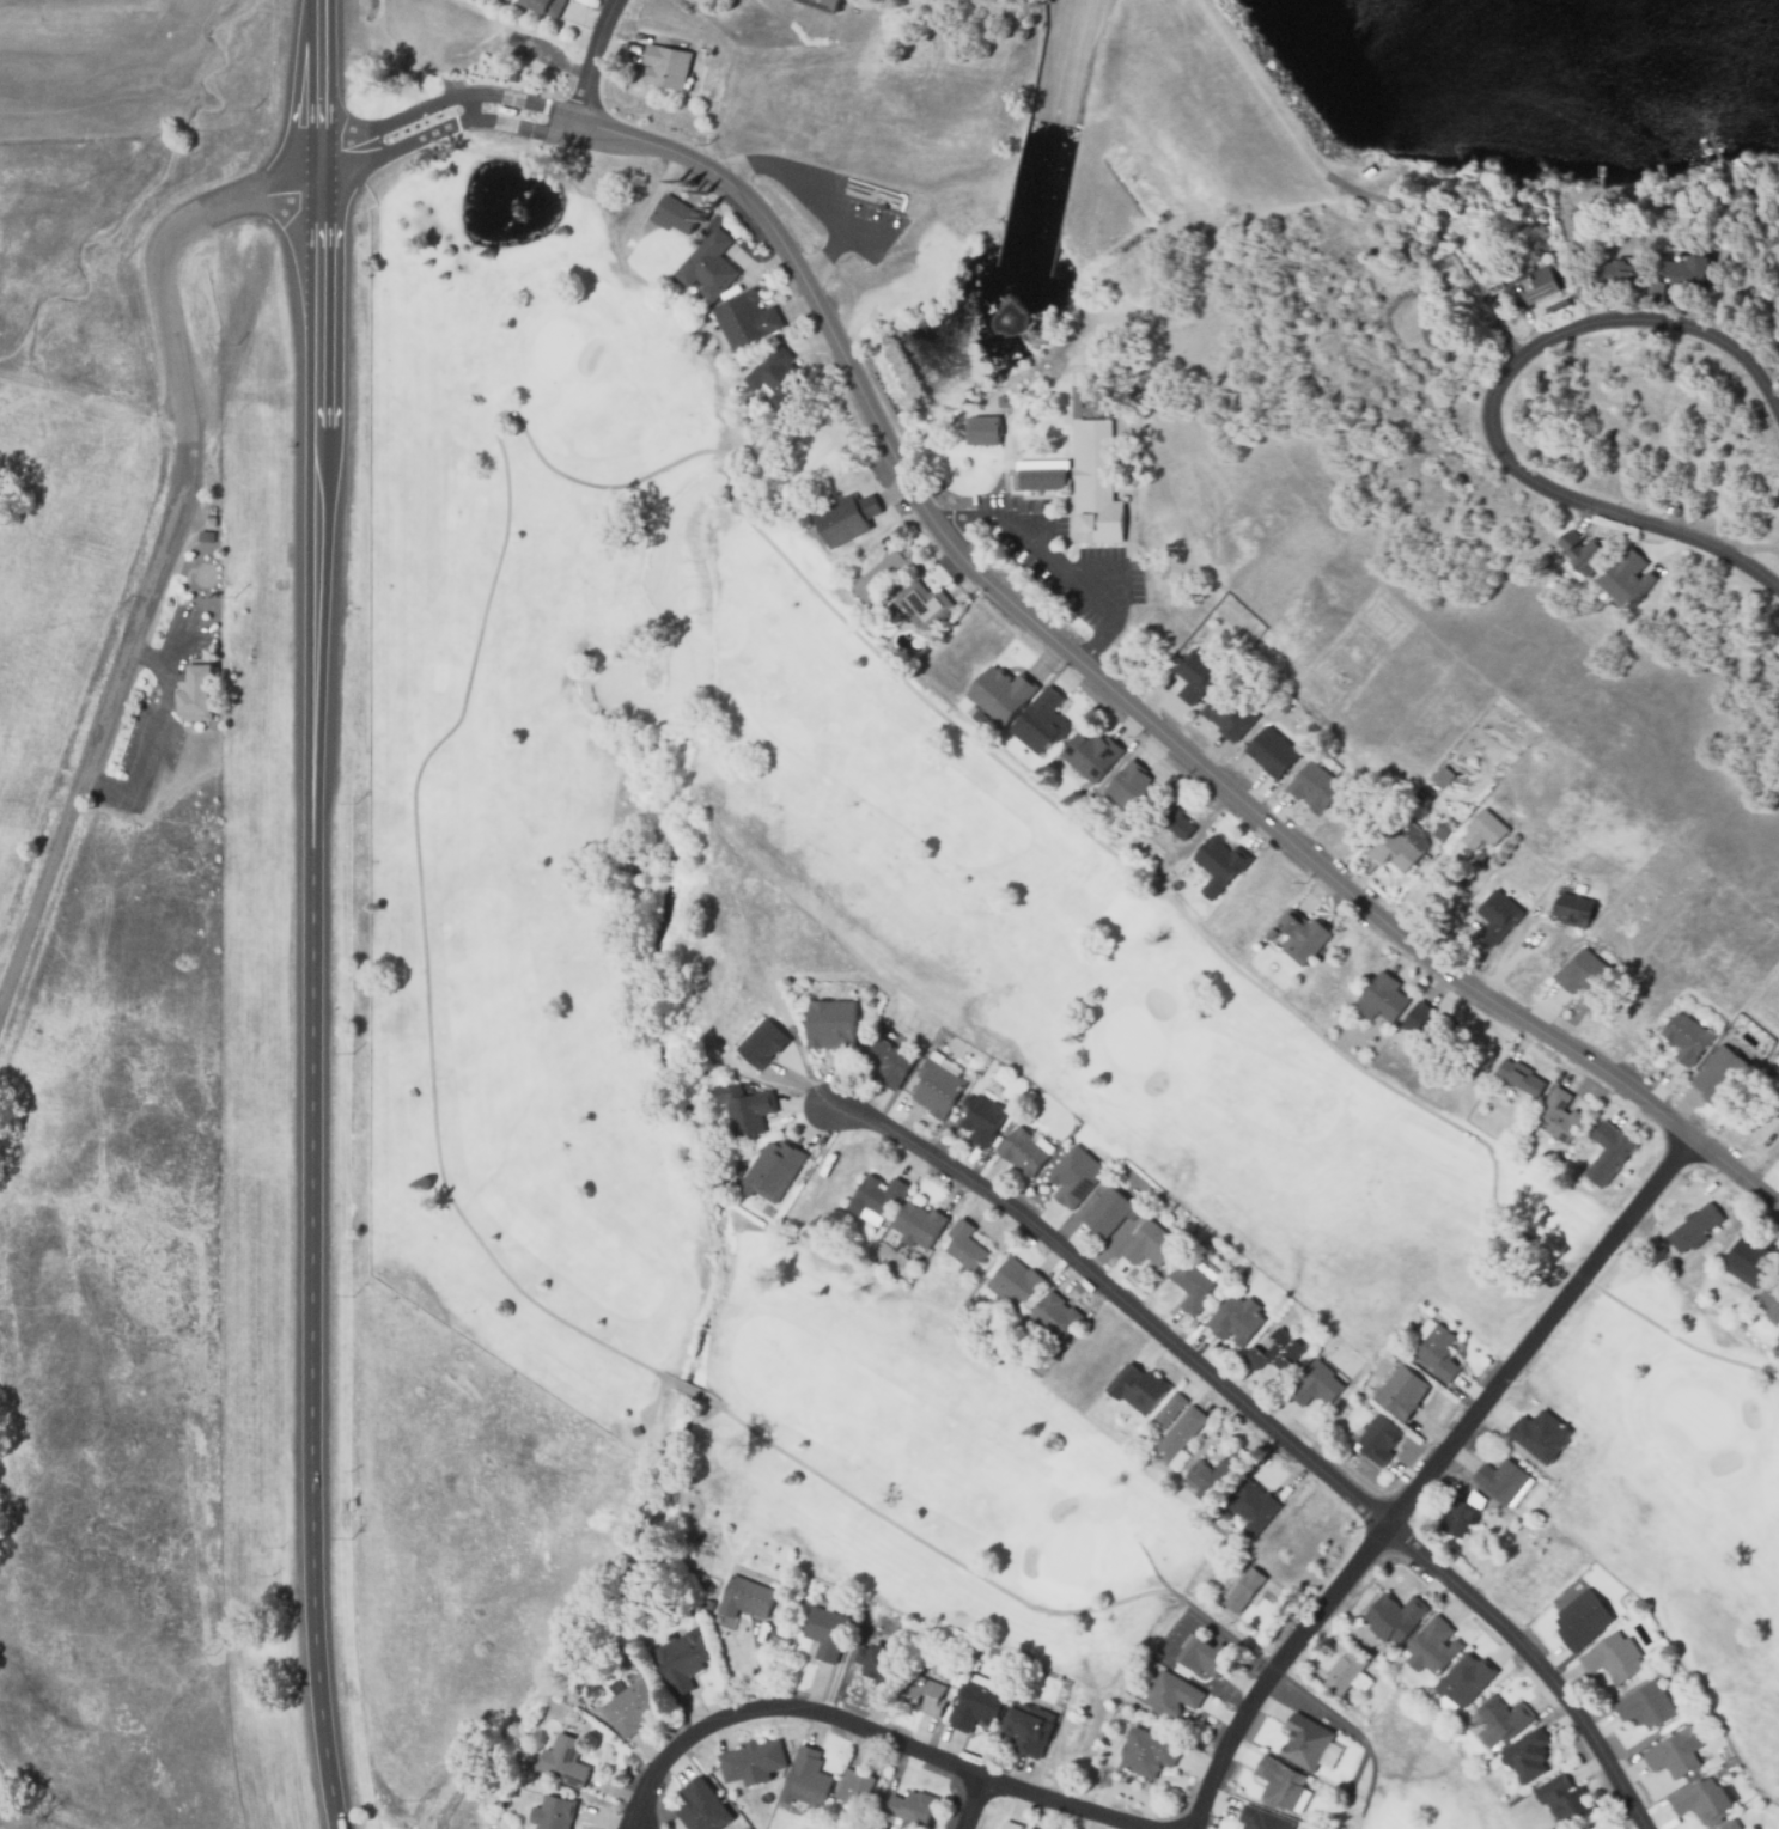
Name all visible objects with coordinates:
building: (823, 4)
building: (543, 6)
road: (592, 60)
building: (664, 65)
road: (802, 189)
parking lot: (831, 209)
building: (675, 213)
road: (825, 254)
building: (706, 263)
building: (1676, 273)
building: (1614, 274)
building: (1531, 284)
building: (744, 318)
building: (775, 376)
road: (91, 394)
road: (1488, 401)
building: (982, 433)
building: (1038, 473)
building: (1093, 481)
road: (732, 488)
building: (845, 516)
building: (209, 520)
building: (205, 536)
road: (158, 548)
building: (1580, 551)
road: (1052, 560)
building: (881, 574)
building: (1625, 577)
building: (207, 604)
building: (920, 604)
road: (1018, 611)
road: (150, 658)
building: (1196, 670)
building: (194, 691)
building: (1000, 693)
building: (1226, 714)
building: (1038, 721)
road: (151, 739)
building: (1090, 752)
building: (1268, 754)
building: (1442, 776)
building: (1311, 788)
building: (1131, 789)
building: (1174, 819)
building: (1440, 830)
building: (1485, 833)
building: (1397, 848)
park: (525, 852)
building: (1217, 864)
building: (1574, 907)
building: (1497, 910)
road: (312, 915)
building: (1300, 937)
building: (1586, 974)
building: (1382, 996)
building: (1419, 1020)
building: (830, 1022)
building: (1686, 1036)
building: (762, 1043)
building: (885, 1062)
building: (1718, 1072)
building: (1519, 1077)
building: (936, 1089)
building: (743, 1106)
building: (1559, 1116)
building: (982, 1117)
building: (1026, 1151)
building: (1608, 1152)
building: (1777, 1156)
building: (770, 1169)
building: (1074, 1173)
building: (877, 1196)
building: (1105, 1213)
building: (916, 1226)
building: (1695, 1229)
building: (1147, 1245)
building: (963, 1246)
building: (1747, 1264)
building: (1013, 1284)
building: (1189, 1286)
building: (1769, 1301)
building: (1236, 1319)
building: (1052, 1321)
building: (1278, 1353)
building: (1437, 1353)
building: (1314, 1385)
road: (688, 1390)
building: (1138, 1390)
building: (1401, 1394)
building: (1166, 1412)
road: (1271, 1427)
building: (1178, 1434)
building: (1540, 1437)
building: (1377, 1441)
road: (1426, 1477)
building: (1200, 1481)
building: (1500, 1482)
building: (1250, 1508)
building: (1461, 1518)
road: (980, 1575)
building: (1243, 1591)
building: (744, 1598)
building: (1391, 1617)
building: (1580, 1620)
building: (824, 1633)
building: (1431, 1647)
building: (1205, 1656)
building: (877, 1657)
building: (1613, 1658)
building: (680, 1660)
building: (1341, 1672)
building: (1463, 1679)
building: (922, 1691)
building: (949, 1693)
building: (1170, 1693)
building: (975, 1705)
building: (1646, 1705)
building: (632, 1707)
building: (1501, 1721)
road: (871, 1729)
building: (1026, 1729)
building: (1304, 1742)
building: (1146, 1751)
building: (1674, 1754)
building: (1524, 1757)
building: (562, 1761)
building: (751, 1762)
building: (528, 1766)
building: (803, 1780)
building: (1279, 1781)
building: (852, 1787)
building: (1700, 1799)
building: (1562, 1800)
road: (971, 1803)
building: (701, 1807)
building: (909, 1807)
park: (1428, 1807)
building: (552, 1813)
building: (1261, 1819)
building: (1010, 1825)
building: (1730, 1825)
building: (1574, 1828)

